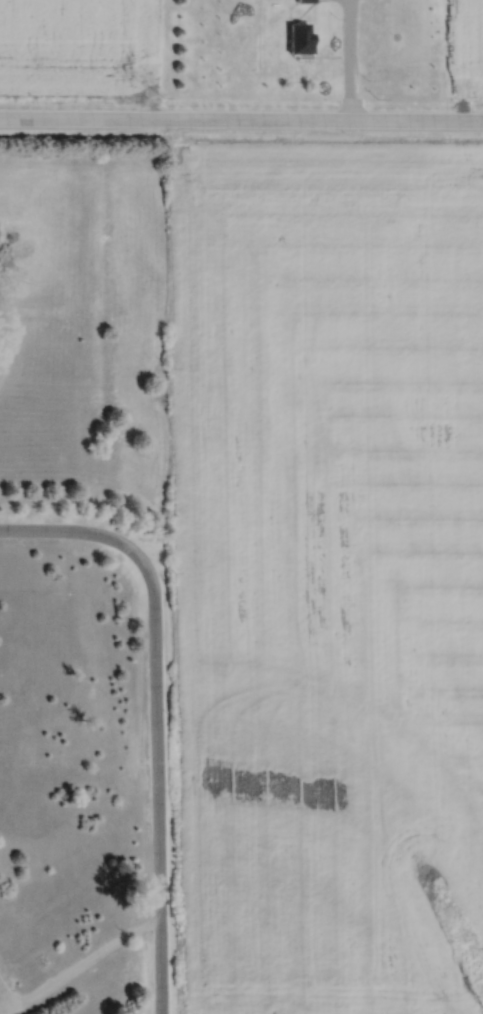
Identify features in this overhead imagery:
building: (307, 1)
building: (302, 39)
crop: (82, 47)
crop: (463, 49)
road: (348, 59)
road: (241, 117)
crop: (330, 564)
road: (155, 710)
road: (79, 964)
road: (5, 994)

